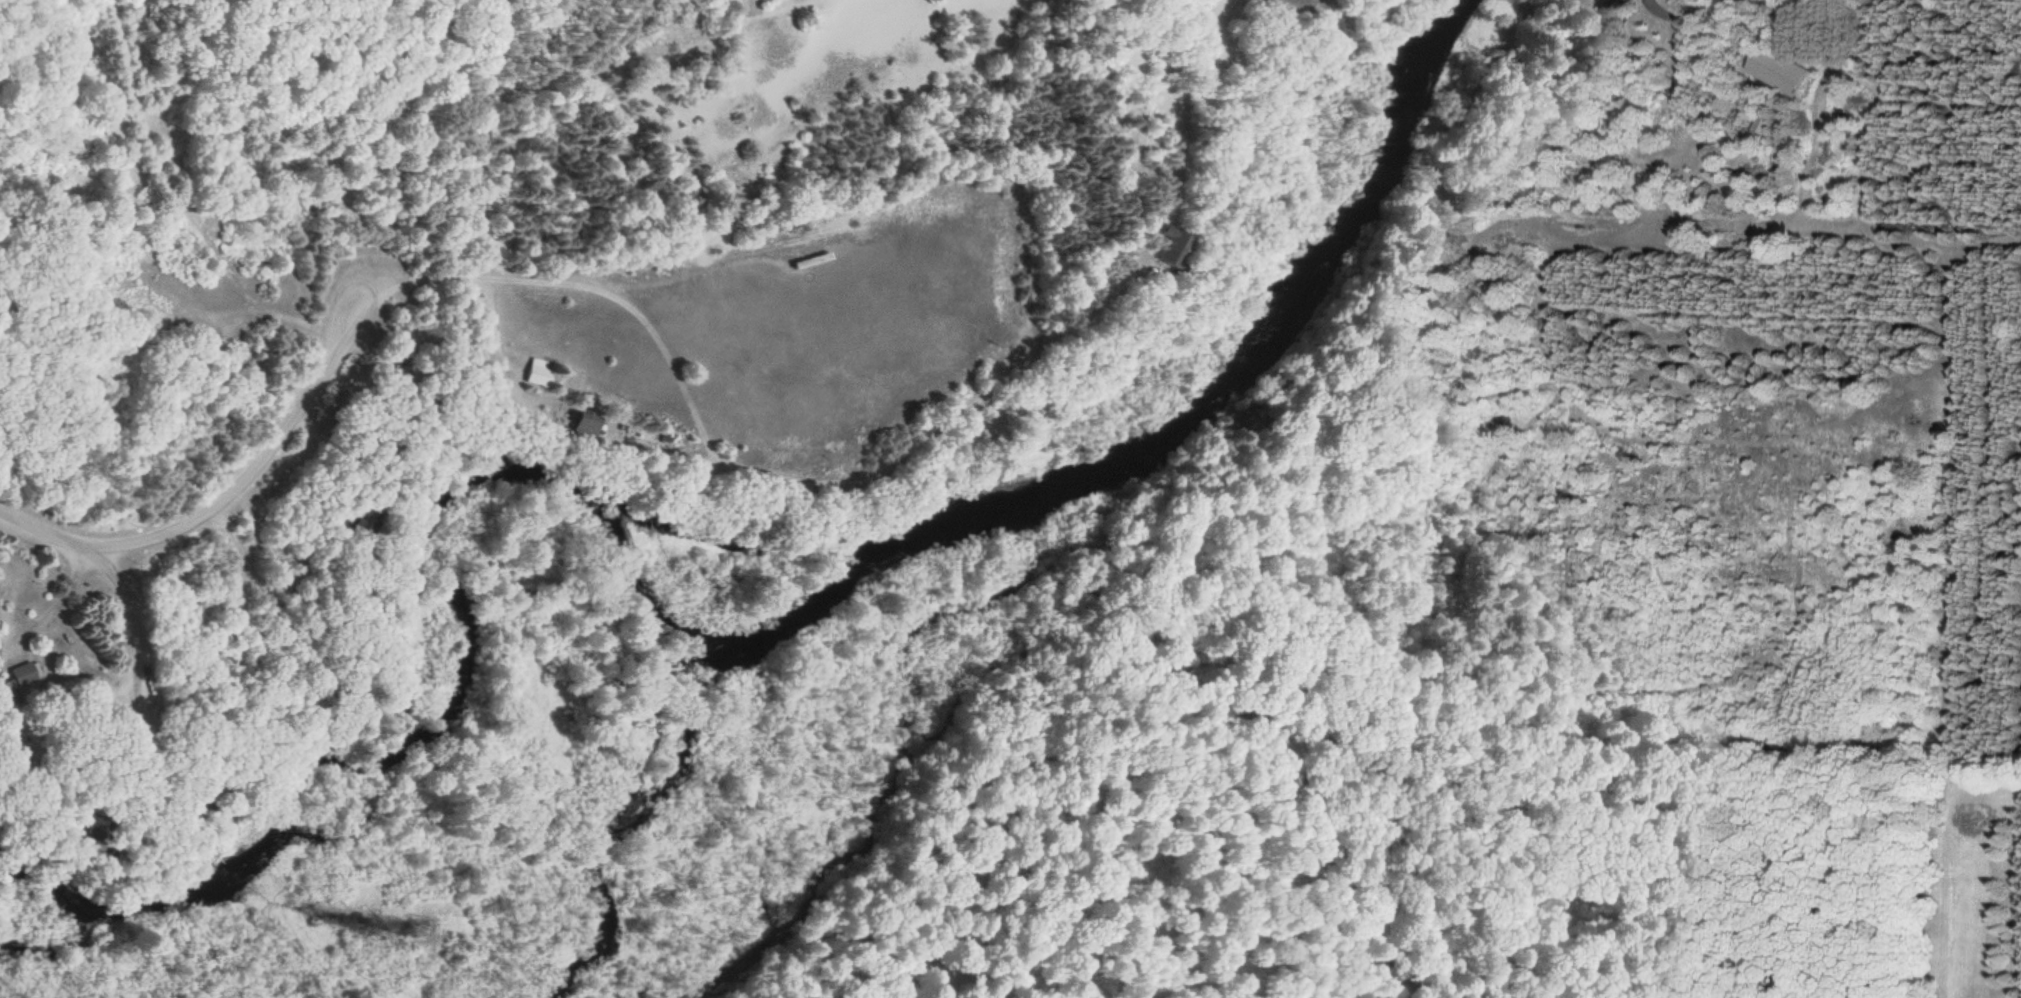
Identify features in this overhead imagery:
building: (1162, 251)
road: (491, 327)
building: (530, 376)
road: (733, 470)
road: (215, 503)
road: (60, 604)
road: (129, 624)
river: (700, 640)
building: (21, 680)

